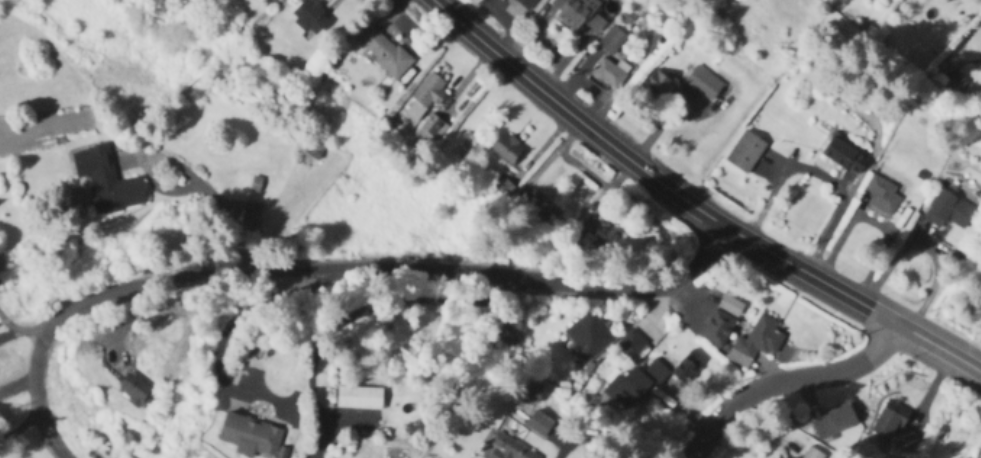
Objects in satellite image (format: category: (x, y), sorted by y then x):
building: (273, 2)
building: (526, 3)
building: (578, 13)
building: (309, 16)
building: (611, 40)
building: (383, 51)
building: (611, 72)
building: (704, 83)
building: (659, 86)
building: (429, 91)
building: (432, 130)
building: (314, 146)
building: (507, 149)
building: (745, 153)
building: (844, 156)
building: (107, 181)
road: (816, 181)
building: (881, 196)
road: (694, 206)
building: (950, 212)
building: (248, 216)
building: (601, 236)
road: (323, 269)
road: (346, 319)
building: (717, 329)
road: (19, 332)
building: (588, 337)
building: (754, 343)
building: (632, 346)
building: (675, 370)
road: (787, 380)
building: (626, 388)
building: (135, 390)
building: (359, 398)
building: (834, 420)
building: (540, 423)
building: (891, 432)
building: (251, 437)
road: (598, 442)
building: (509, 449)
building: (812, 454)

